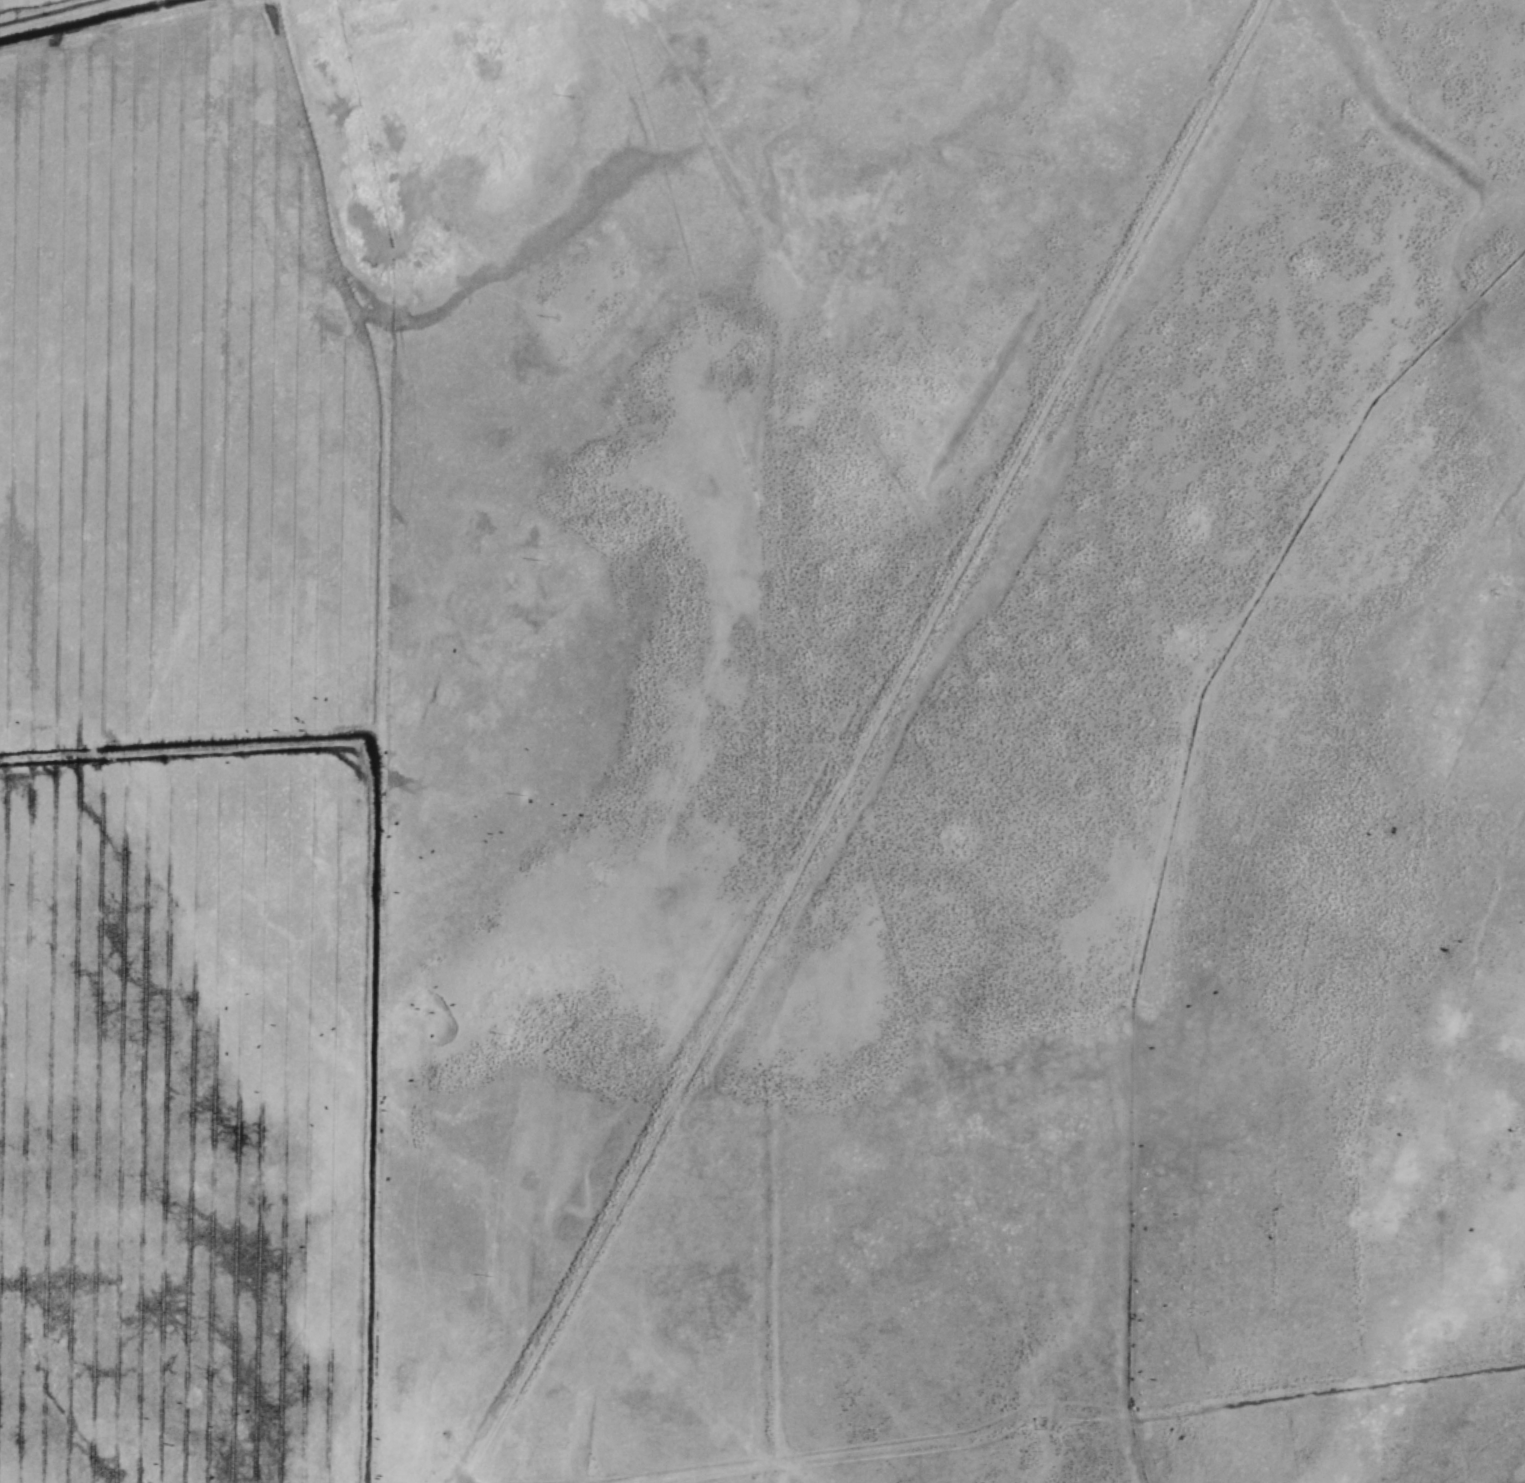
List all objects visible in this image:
road: (852, 718)
crop: (178, 736)
crop: (940, 743)

